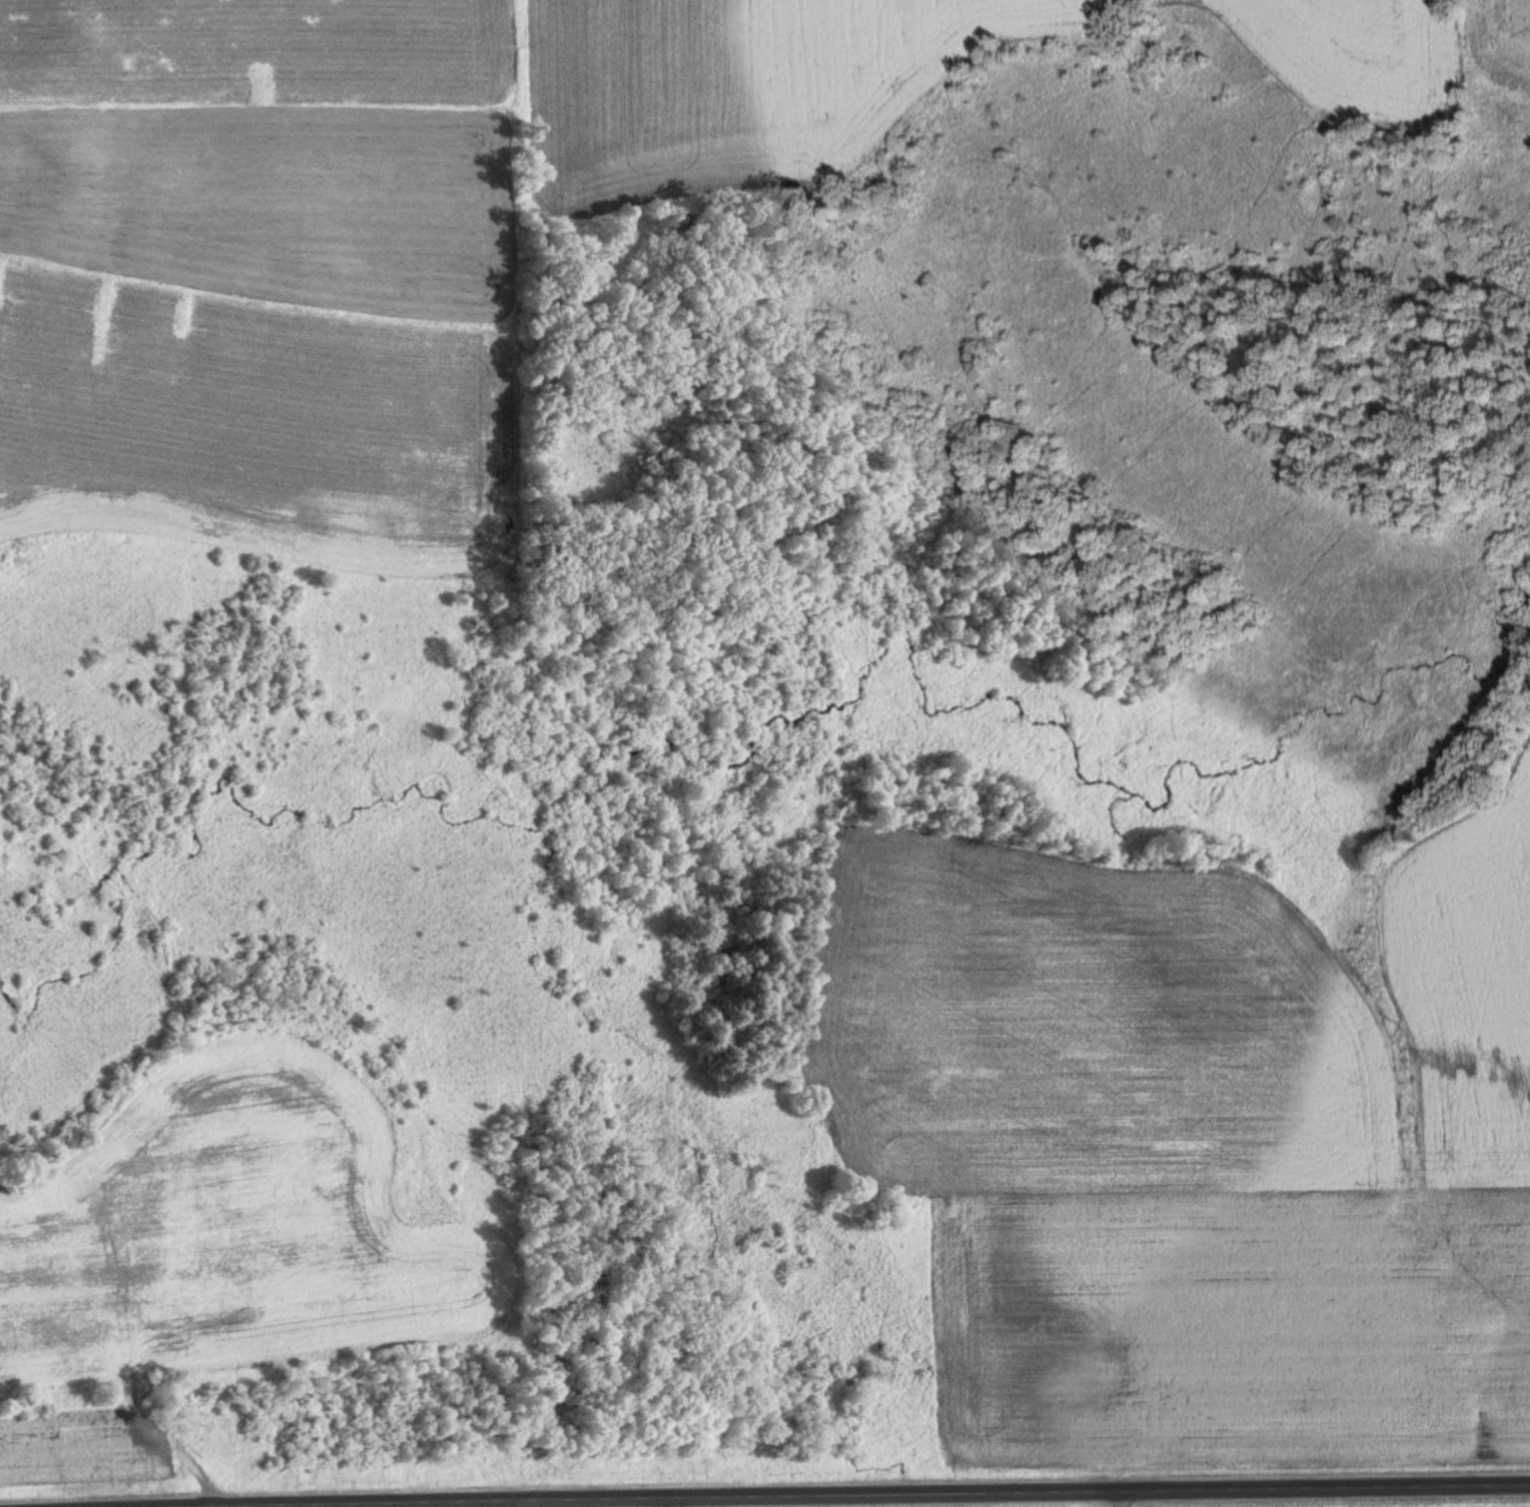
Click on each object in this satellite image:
crop: (1402, 69)
crop: (379, 234)
crop: (1195, 1148)
road: (777, 1489)
crop: (1334, 1493)
road: (1120, 1495)
crop: (235, 1503)

